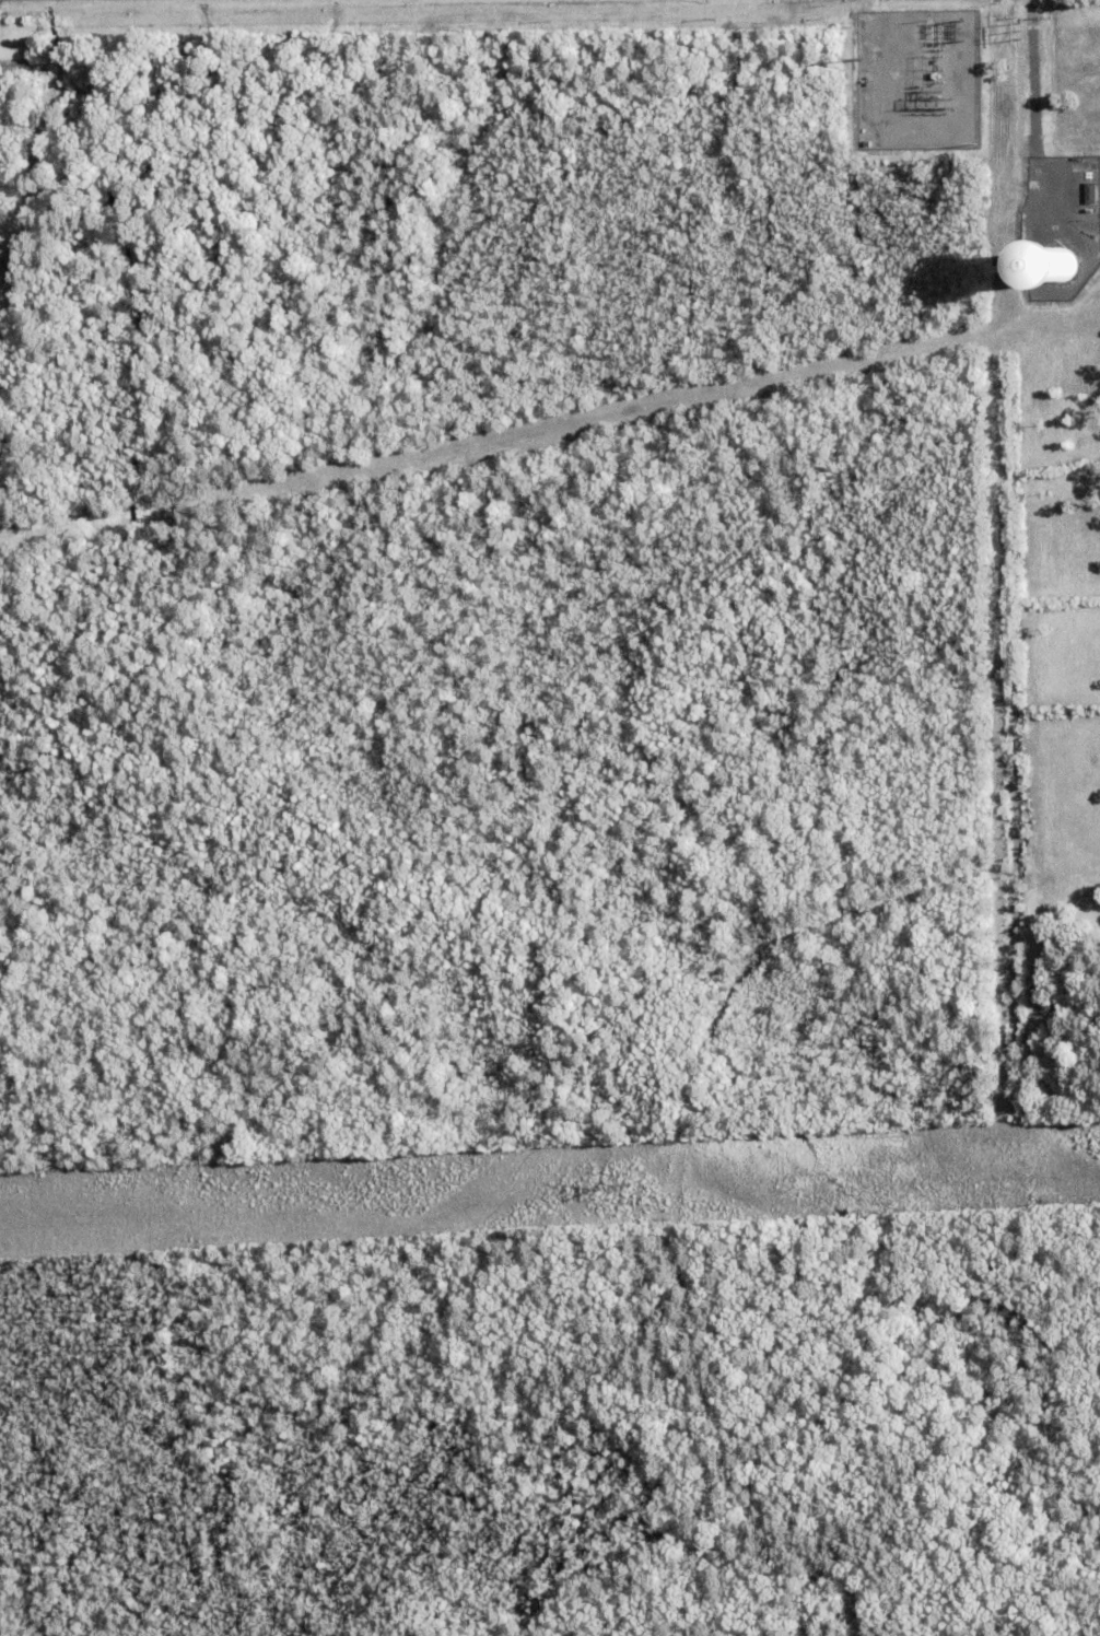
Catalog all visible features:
building: (8, 71)
power substation: (916, 78)
road: (1032, 114)
building: (1063, 262)
water tower: (1057, 266)
power tower: (630, 1187)

